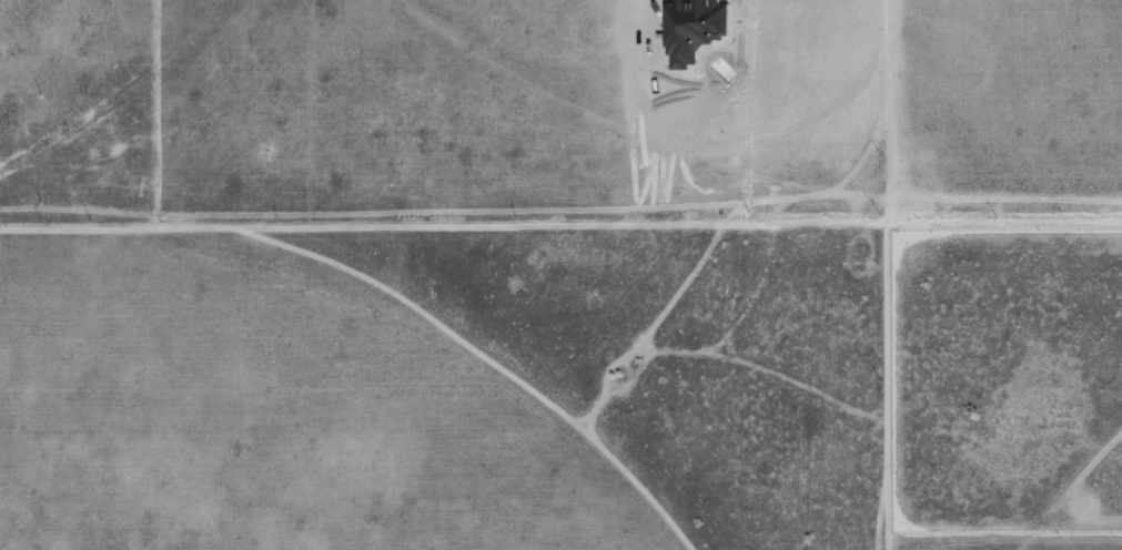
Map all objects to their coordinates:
road: (1003, 228)
road: (442, 231)
road: (882, 380)

